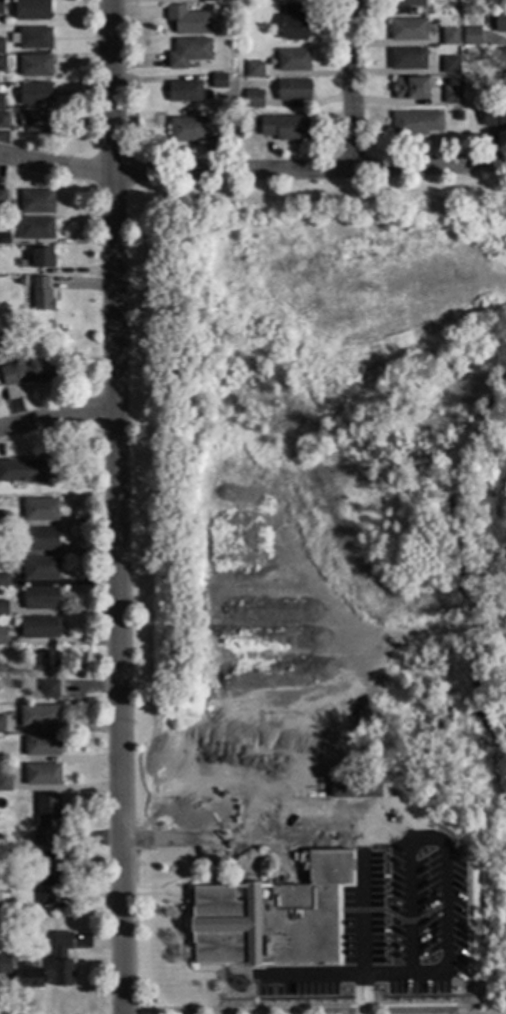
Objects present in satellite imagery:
building: (209, 1)
building: (404, 6)
building: (1, 8)
building: (31, 10)
building: (188, 21)
building: (295, 23)
building: (500, 23)
building: (408, 31)
building: (450, 38)
building: (471, 38)
building: (32, 39)
building: (1, 47)
building: (188, 53)
building: (505, 58)
building: (407, 60)
building: (293, 61)
building: (2, 65)
building: (450, 66)
building: (35, 67)
building: (254, 71)
building: (504, 80)
building: (219, 81)
road: (352, 85)
building: (411, 88)
building: (293, 91)
building: (184, 92)
building: (452, 92)
building: (34, 94)
building: (503, 95)
building: (253, 100)
building: (2, 103)
building: (223, 113)
building: (494, 119)
building: (4, 121)
building: (37, 123)
building: (416, 124)
building: (285, 128)
building: (193, 130)
road: (252, 170)
building: (2, 200)
building: (37, 202)
building: (35, 230)
building: (4, 240)
building: (38, 259)
building: (41, 295)
building: (28, 372)
road: (59, 417)
building: (26, 470)
road: (119, 506)
building: (40, 511)
building: (3, 520)
building: (40, 540)
building: (8, 551)
building: (40, 569)
building: (4, 581)
building: (40, 599)
building: (3, 609)
building: (39, 628)
building: (3, 636)
building: (48, 664)
building: (49, 690)
building: (39, 716)
building: (1, 725)
building: (42, 746)
building: (42, 775)
building: (5, 784)
building: (345, 788)
building: (366, 789)
road: (318, 808)
building: (46, 820)
road: (380, 841)
road: (328, 842)
building: (49, 871)
parking lot: (387, 897)
building: (45, 899)
road: (444, 909)
building: (271, 917)
road: (400, 927)
building: (41, 948)
building: (61, 960)
building: (5, 965)
building: (29, 977)

